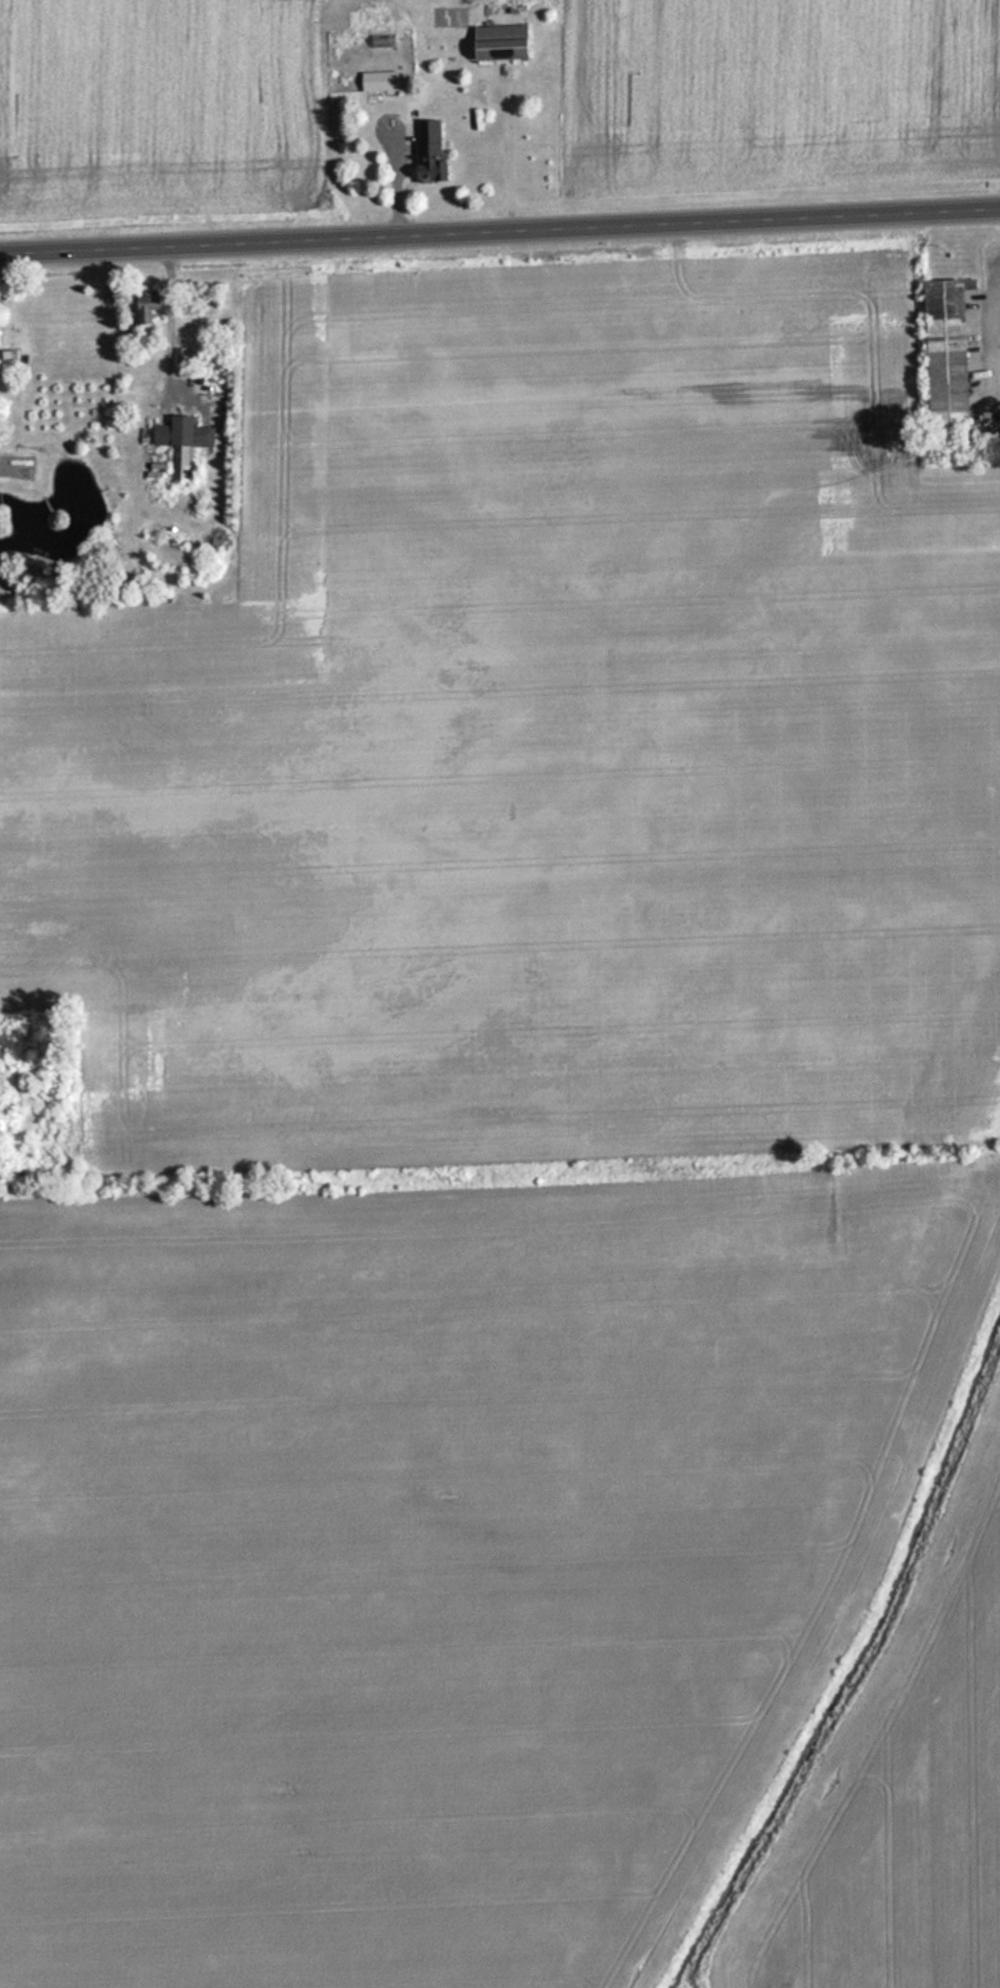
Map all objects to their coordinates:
building: (380, 39)
building: (496, 42)
building: (377, 81)
building: (427, 152)
road: (500, 233)
building: (143, 308)
building: (943, 349)
building: (7, 362)
building: (176, 445)

